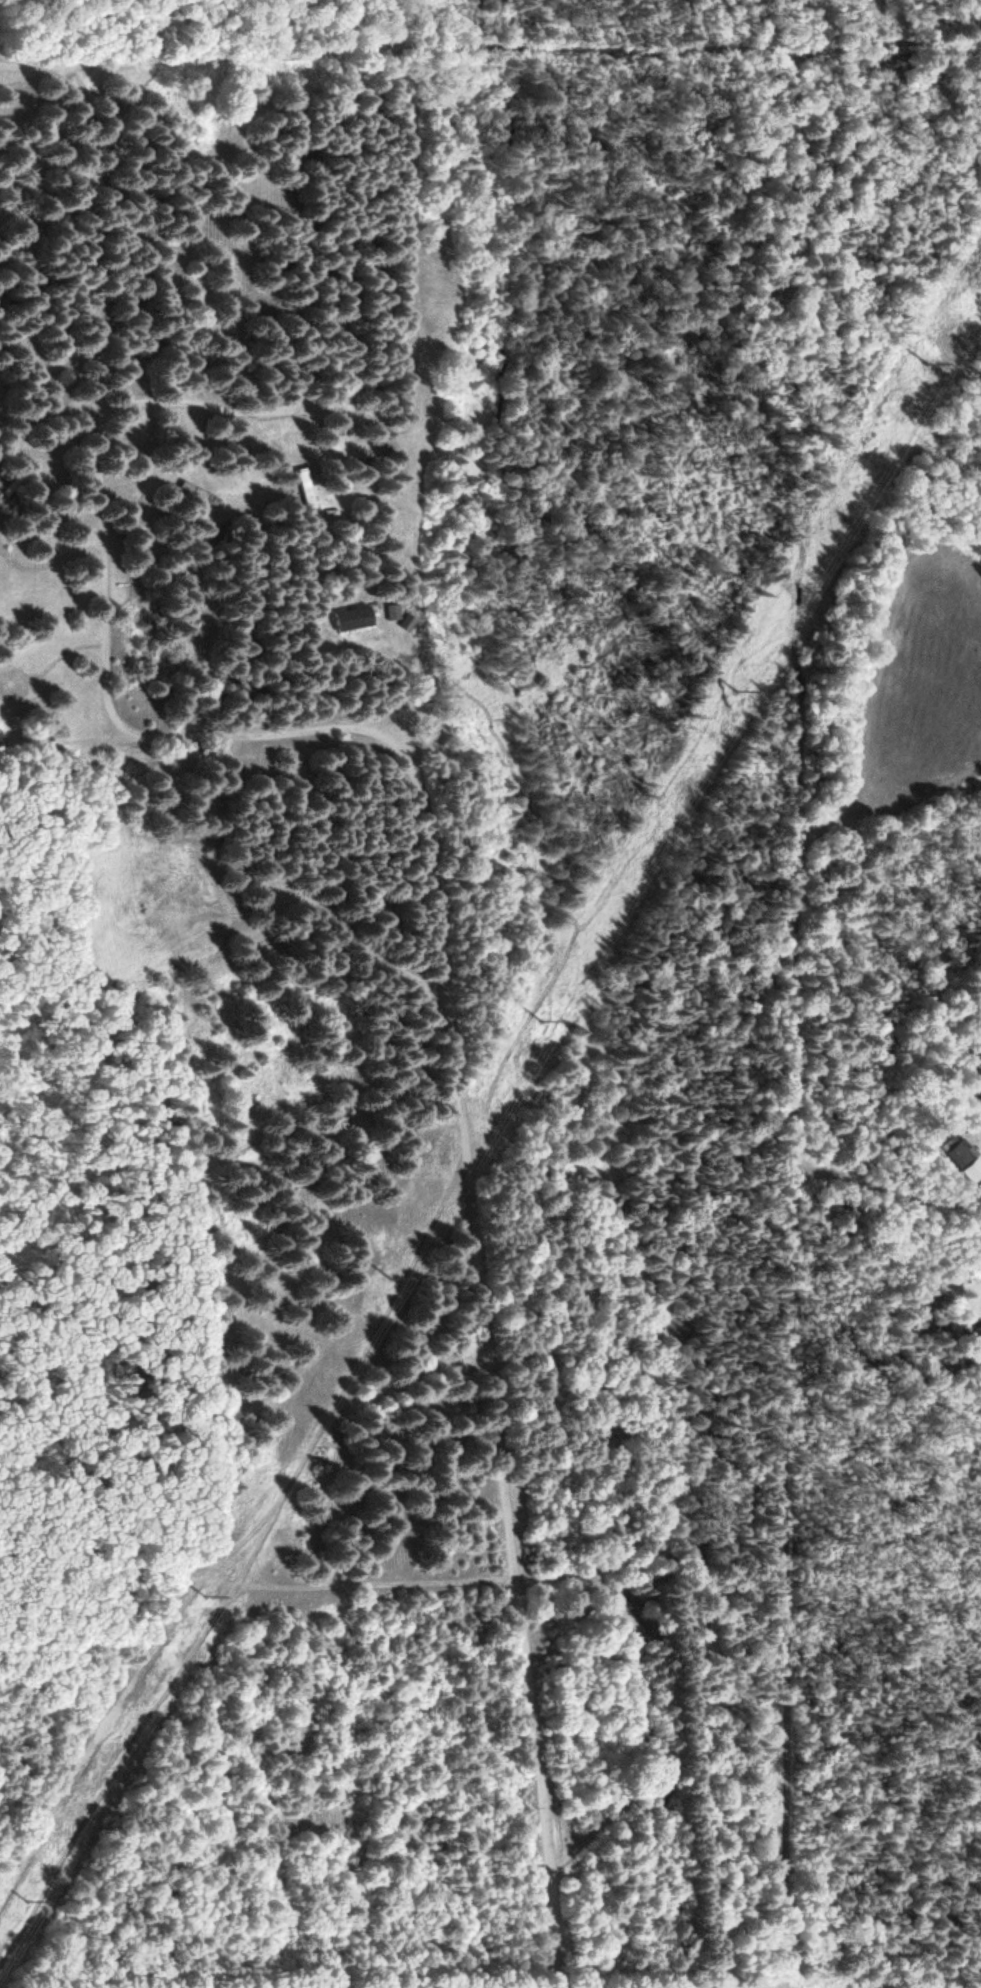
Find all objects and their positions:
road: (412, 44)
road: (903, 50)
power tower: (928, 361)
building: (306, 487)
building: (395, 611)
building: (356, 618)
power tower: (737, 688)
road: (431, 883)
road: (790, 1017)
power tower: (543, 1018)
building: (959, 1152)
power tower: (393, 1275)
building: (978, 1333)
power tower: (205, 1594)
building: (626, 1618)
power tower: (25, 1897)

